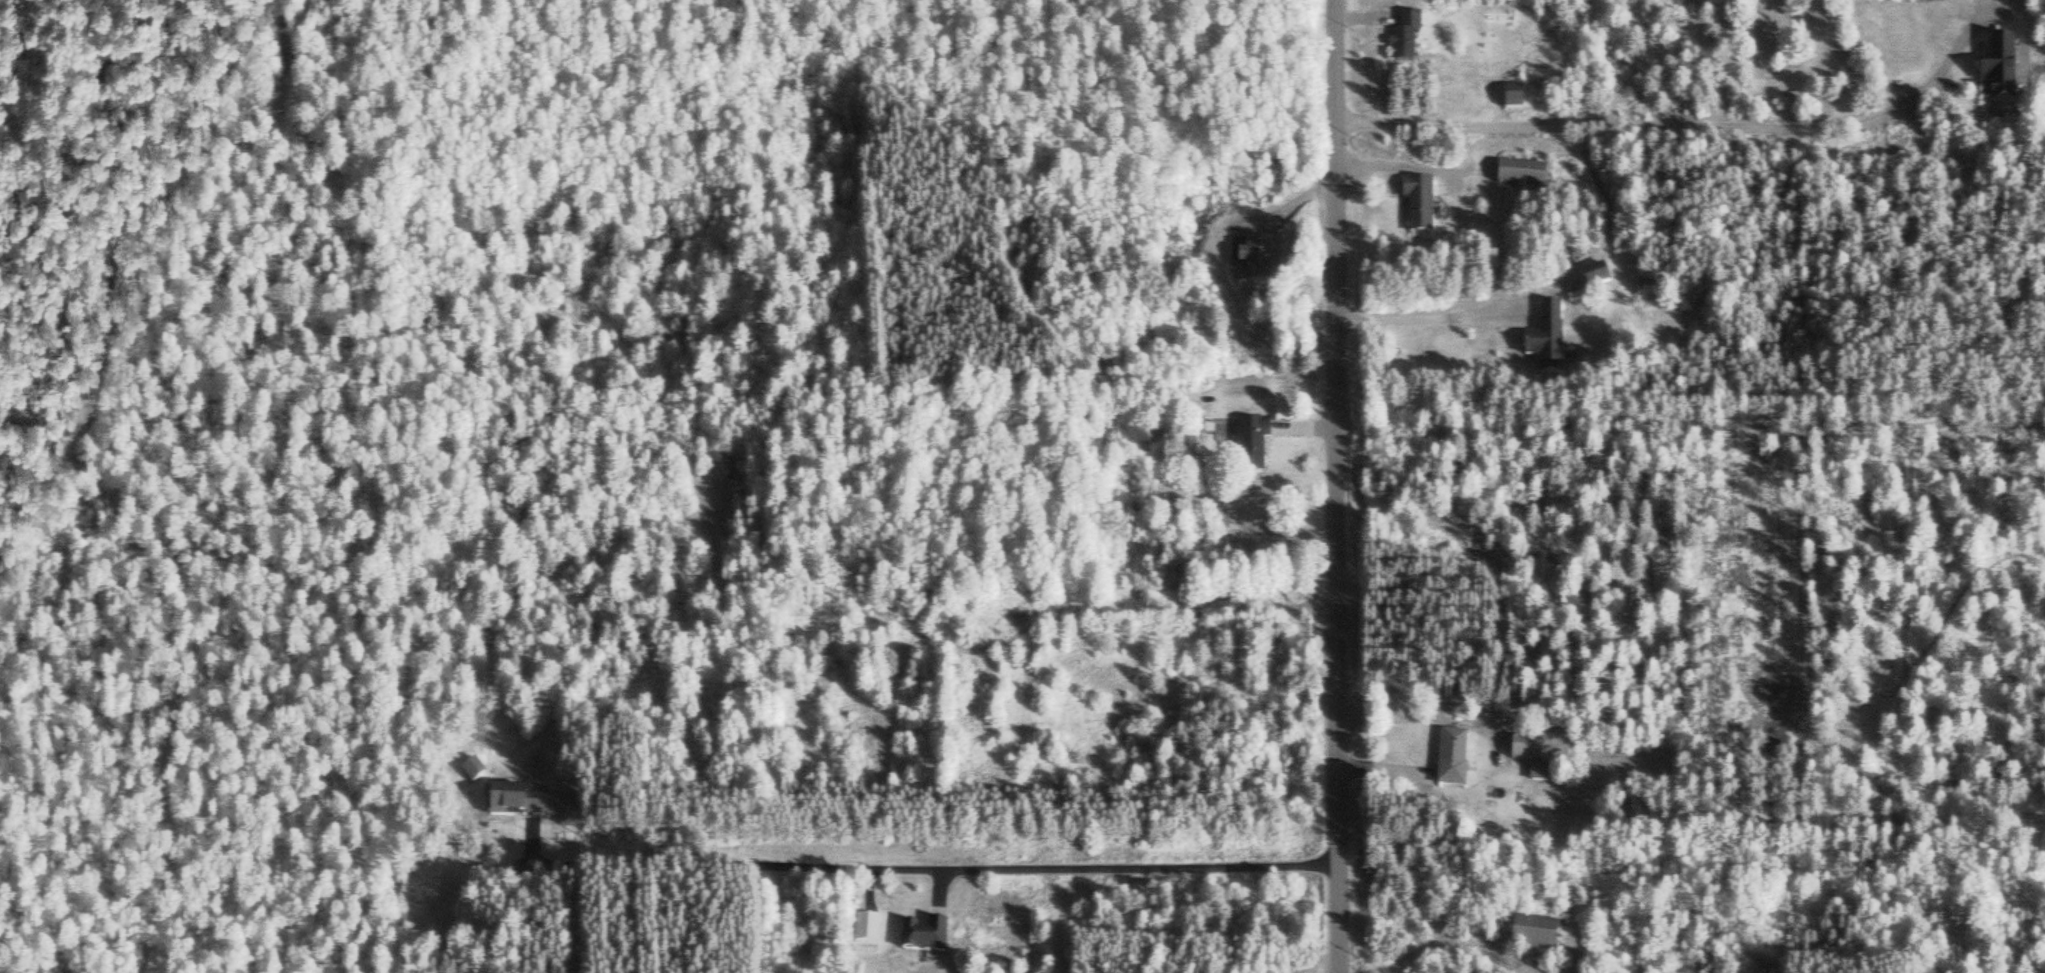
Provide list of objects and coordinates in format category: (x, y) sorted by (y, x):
building: (1411, 42)
building: (1993, 72)
road: (1698, 131)
building: (1527, 179)
building: (1424, 208)
building: (1257, 264)
building: (1590, 283)
building: (1554, 344)
building: (1255, 446)
road: (85, 458)
road: (1337, 486)
road: (1000, 643)
building: (1528, 751)
building: (1455, 761)
building: (1542, 774)
building: (537, 805)
road: (923, 872)
building: (870, 931)
building: (929, 937)

